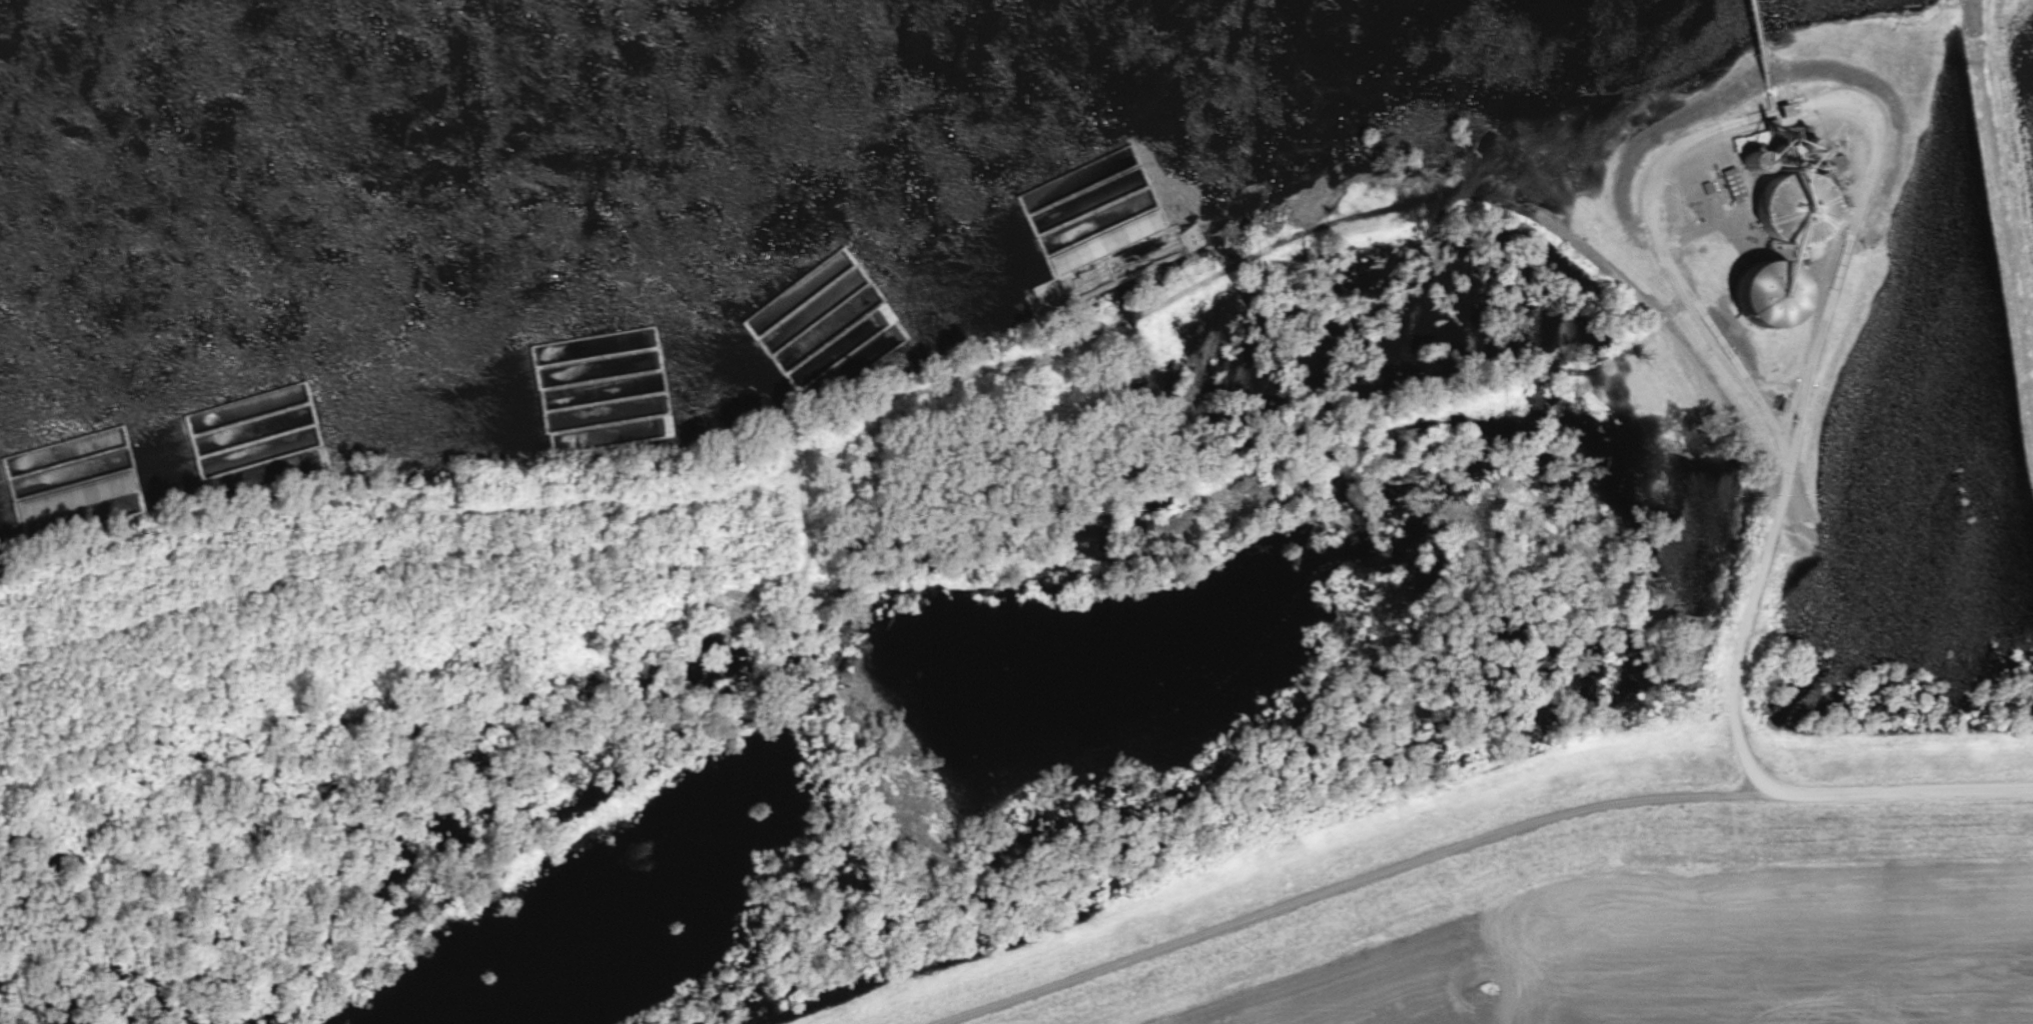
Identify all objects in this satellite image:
road: (1845, 267)
road: (1679, 283)
road: (929, 438)
road: (1795, 467)
road: (1902, 550)
road: (1748, 645)
road: (1474, 842)

